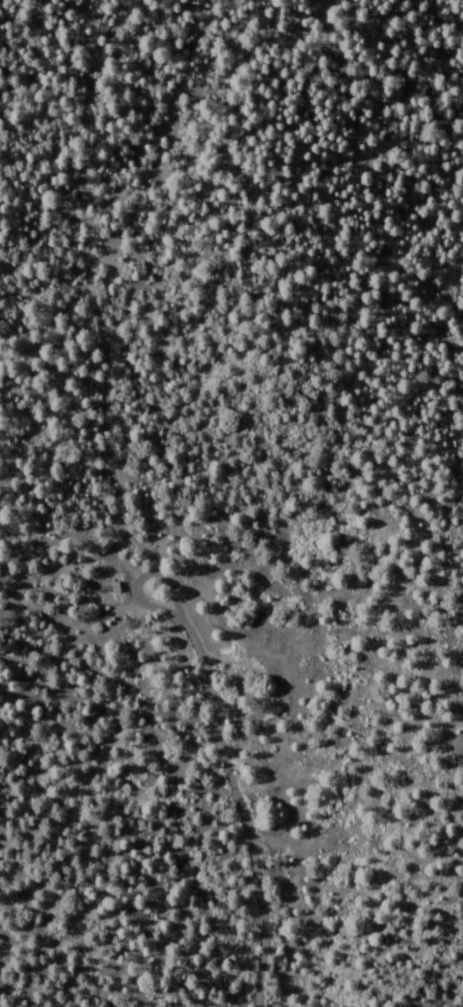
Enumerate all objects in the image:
road: (83, 137)
road: (350, 187)
road: (90, 302)
road: (34, 352)
road: (189, 660)

